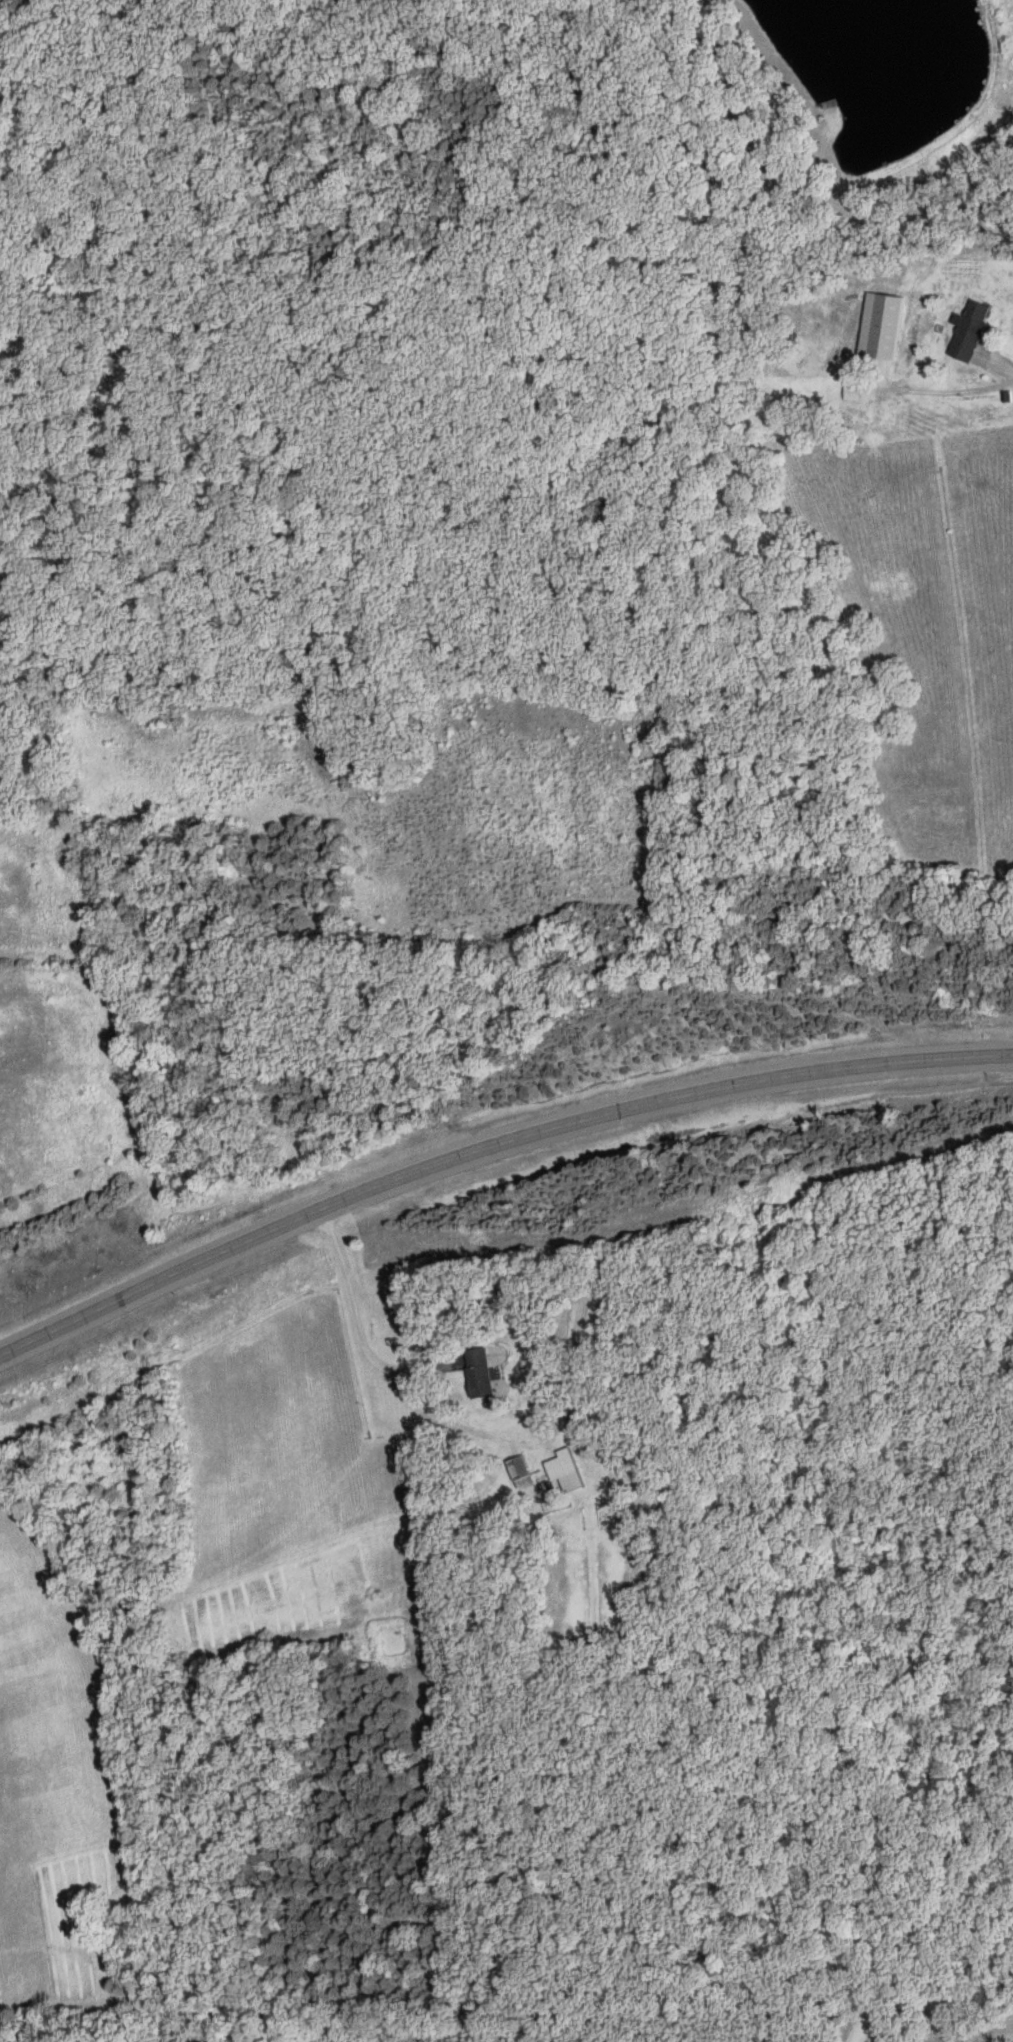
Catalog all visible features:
building: (886, 327)
building: (971, 330)
road: (1002, 357)
building: (889, 418)
road: (488, 1145)
building: (480, 1374)
building: (566, 1470)
building: (520, 1473)
road: (925, 2003)

